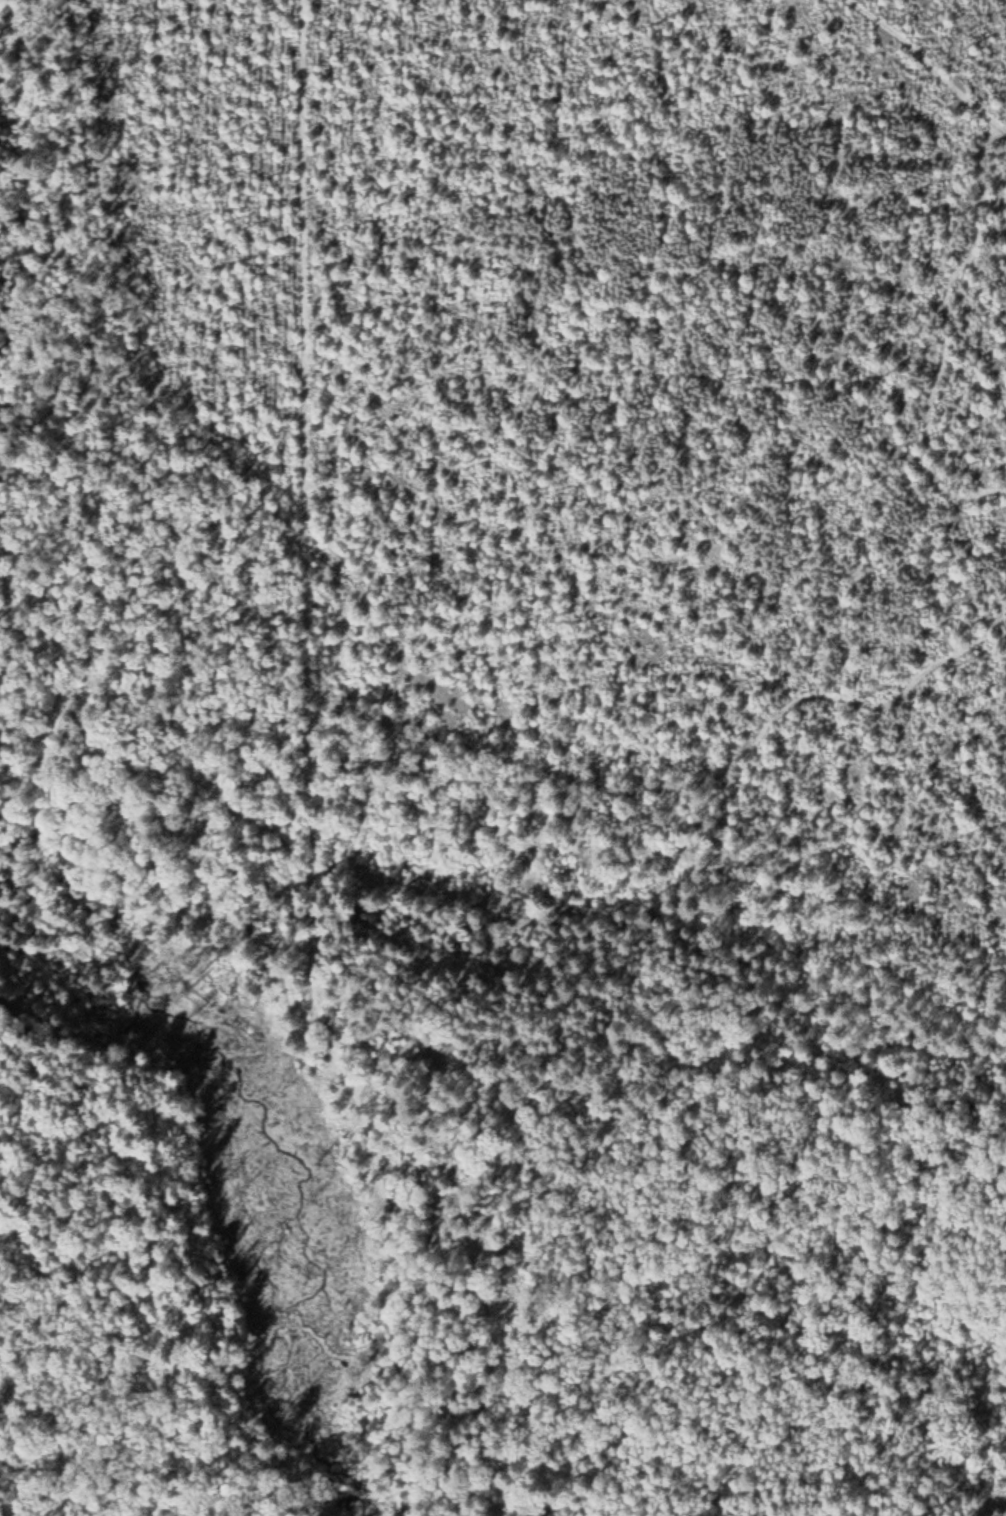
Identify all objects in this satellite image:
road: (930, 62)
road: (939, 340)
road: (306, 621)
road: (200, 787)

